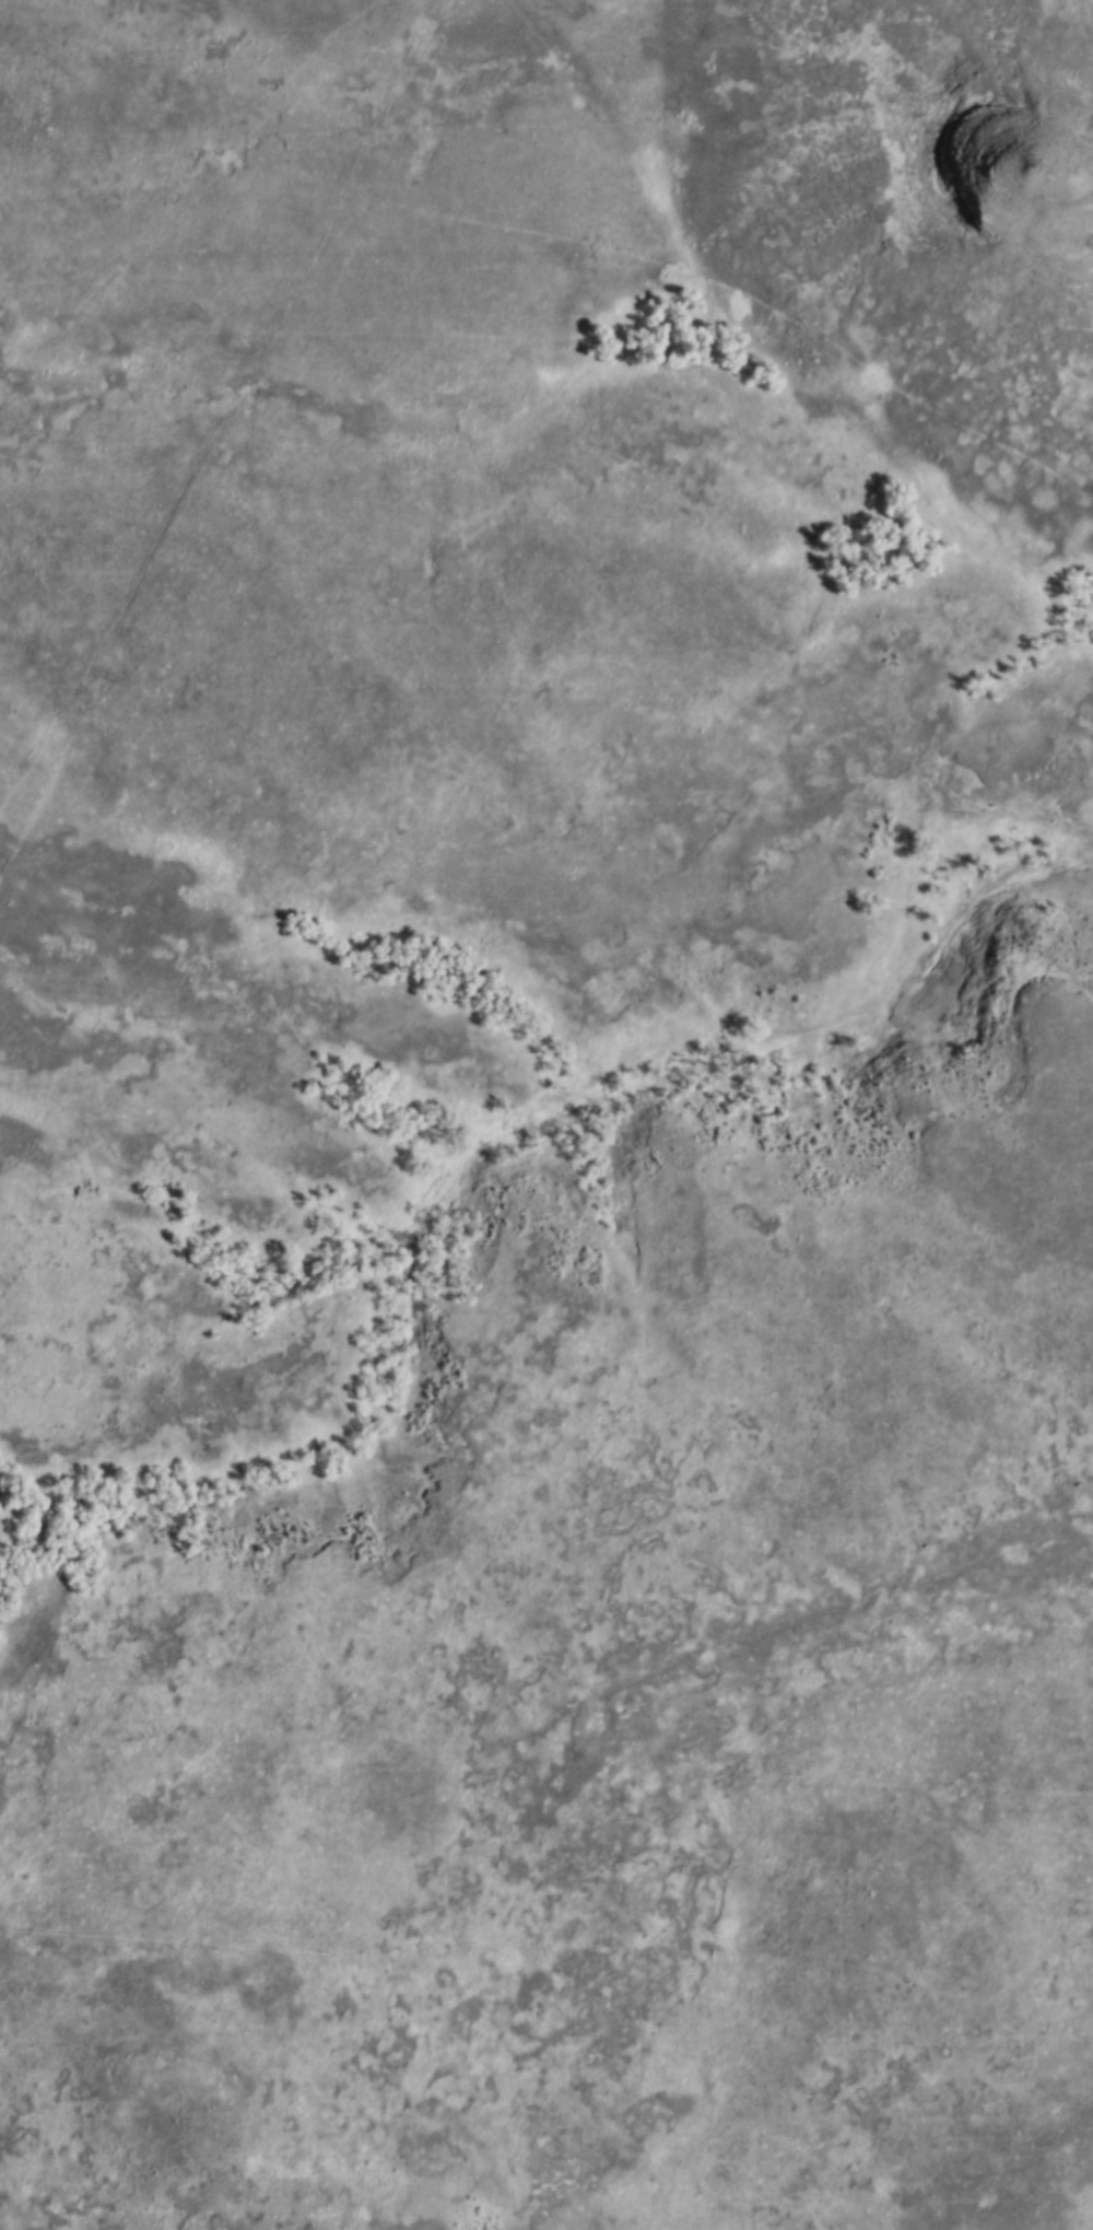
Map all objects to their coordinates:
road: (431, 1)

